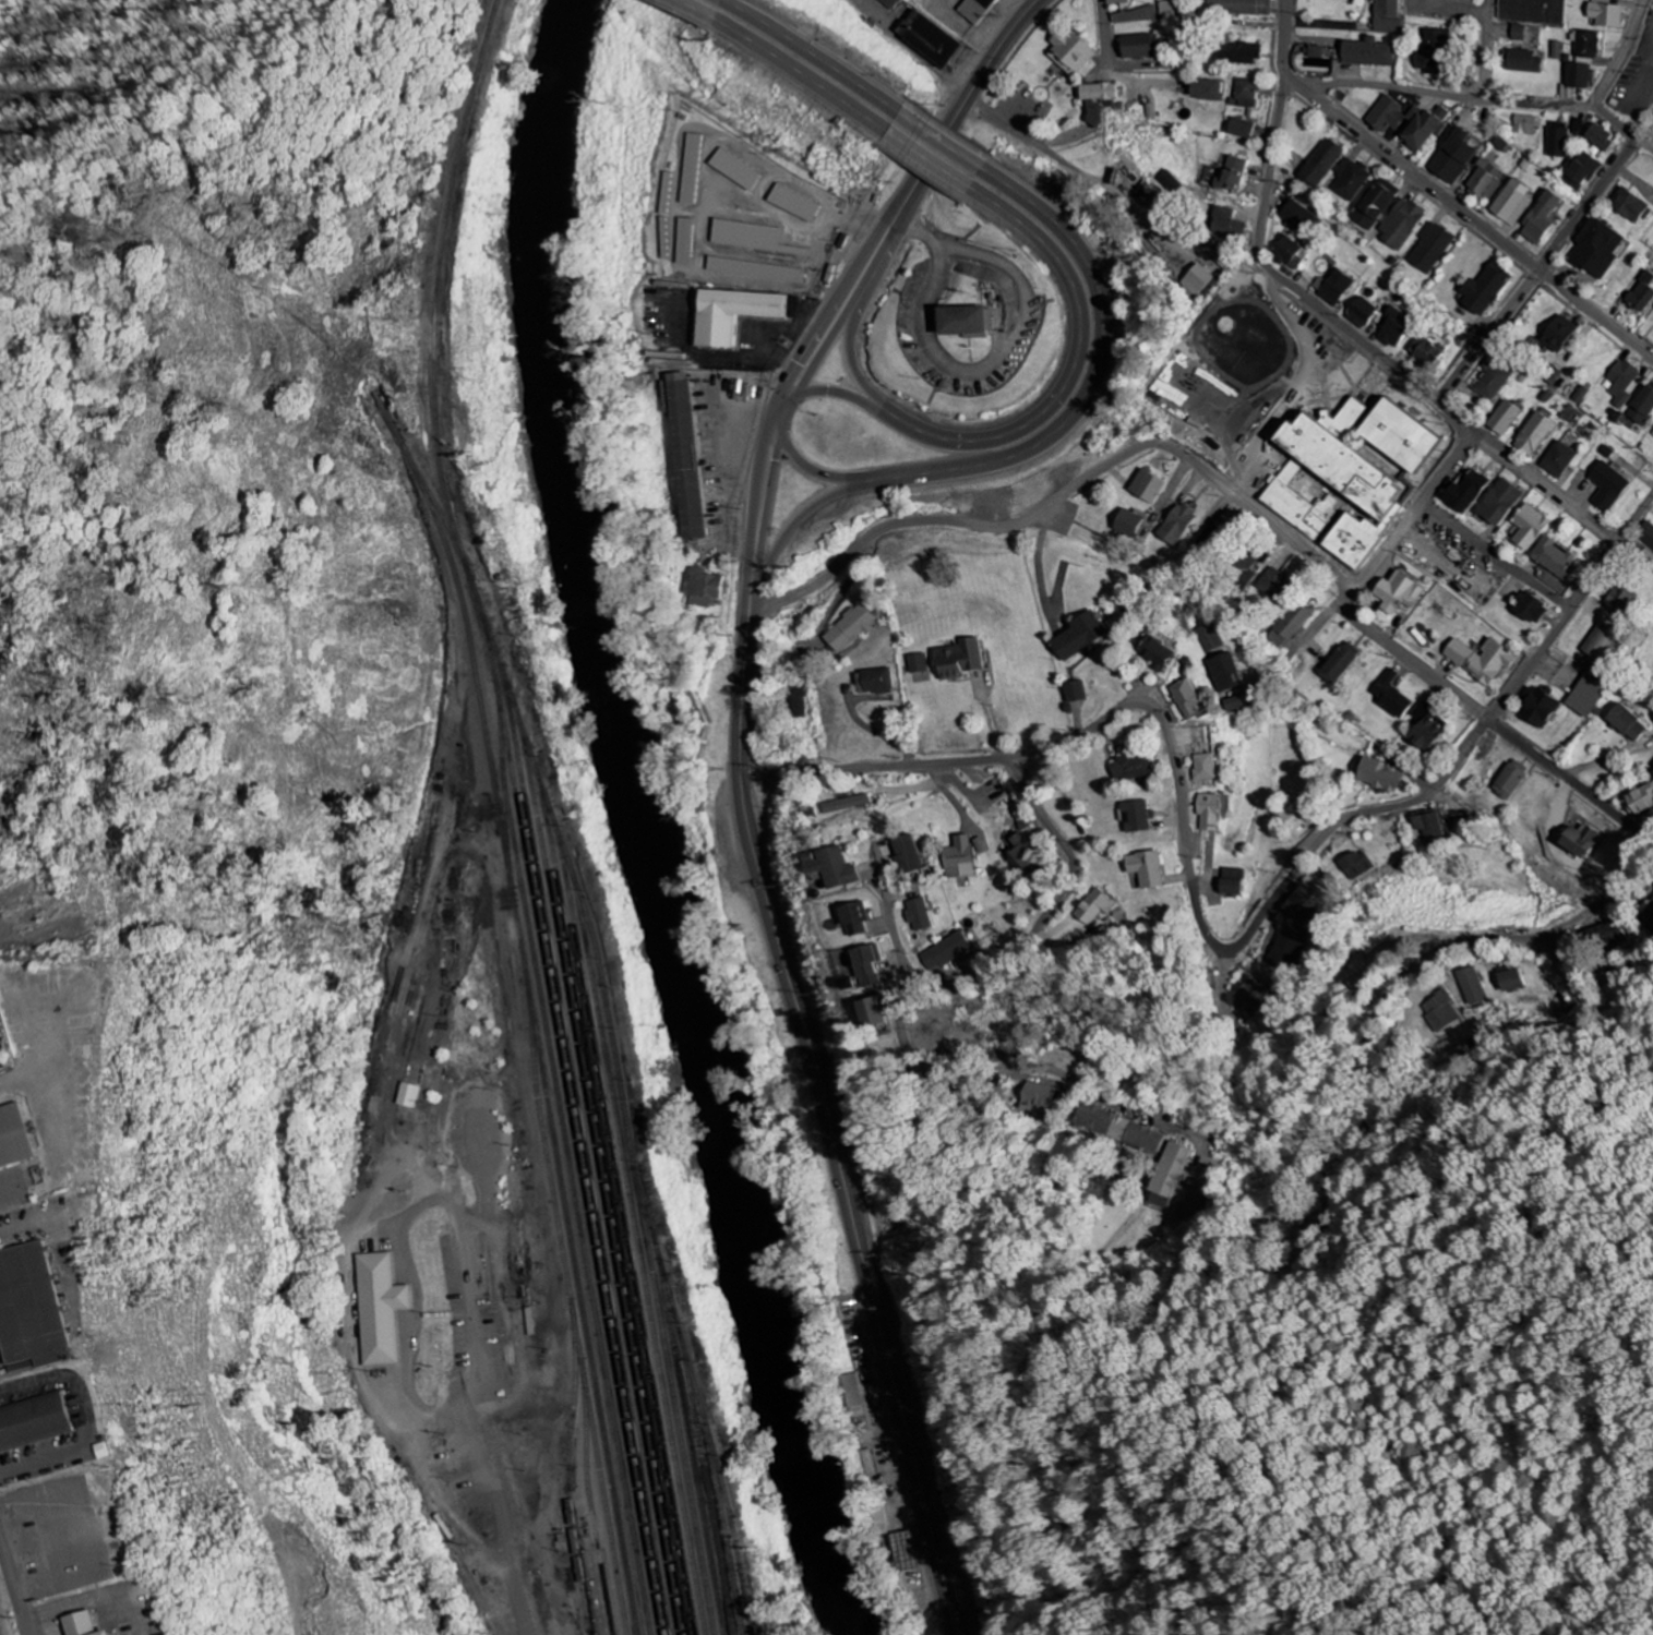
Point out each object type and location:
building: (1115, 1)
building: (889, 3)
building: (1239, 7)
road: (702, 9)
building: (975, 9)
building: (1534, 10)
building: (1606, 13)
building: (1137, 15)
building: (1387, 16)
building: (1518, 33)
building: (927, 38)
building: (1586, 45)
building: (1137, 46)
building: (1557, 50)
road: (817, 51)
building: (1314, 51)
building: (1432, 51)
building: (1071, 52)
building: (1236, 52)
building: (1367, 52)
road: (1620, 55)
building: (1523, 61)
road: (1106, 70)
road: (805, 75)
building: (1576, 79)
road: (1315, 85)
building: (1205, 89)
building: (1098, 93)
building: (1244, 93)
road: (1458, 97)
building: (1386, 115)
building: (1526, 125)
road: (1622, 125)
building: (1423, 127)
building: (1241, 128)
building: (1600, 136)
road: (945, 140)
building: (1558, 140)
building: (1454, 156)
road: (933, 160)
building: (1321, 164)
building: (690, 169)
building: (734, 169)
building: (1582, 169)
building: (1232, 175)
building: (1351, 179)
building: (1487, 181)
road: (907, 196)
building: (1512, 202)
building: (793, 203)
building: (1374, 204)
building: (1628, 205)
building: (1298, 215)
road: (1471, 215)
building: (1541, 217)
building: (1401, 224)
building: (1226, 225)
building: (751, 237)
building: (684, 241)
road: (1261, 241)
building: (1596, 248)
building: (1430, 249)
building: (1289, 253)
road: (1538, 267)
building: (754, 269)
railway: (442, 280)
building: (1197, 280)
building: (1335, 287)
building: (1484, 288)
building: (1642, 293)
building: (1362, 312)
building: (731, 314)
building: (963, 320)
building: (1393, 327)
building: (1558, 334)
building: (1424, 351)
road: (849, 352)
road: (1068, 374)
building: (1553, 375)
building: (1493, 380)
building: (1620, 383)
road: (1094, 385)
road: (834, 392)
building: (1581, 395)
building: (1643, 406)
building: (1568, 413)
road: (1459, 414)
building: (1505, 419)
building: (1535, 434)
building: (684, 456)
building: (1559, 459)
road: (810, 471)
building: (1347, 473)
road: (765, 480)
road: (1549, 483)
building: (1607, 485)
building: (1147, 488)
building: (1466, 492)
road: (1064, 493)
building: (1499, 502)
road: (1415, 510)
road: (803, 516)
railway: (436, 519)
building: (1128, 522)
building: (1177, 525)
building: (1530, 527)
building: (1646, 534)
building: (1555, 558)
building: (1243, 568)
building: (703, 584)
building: (1273, 584)
building: (1397, 592)
building: (1529, 609)
building: (1290, 625)
building: (850, 629)
building: (1078, 637)
building: (1209, 638)
building: (1601, 642)
building: (1157, 654)
building: (957, 659)
building: (1481, 659)
building: (918, 663)
building: (1339, 663)
building: (1226, 673)
building: (1075, 692)
building: (1589, 693)
building: (1391, 695)
building: (1185, 698)
building: (798, 702)
building: (1233, 705)
building: (1537, 707)
road: (1489, 717)
building: (1626, 723)
building: (1426, 728)
building: (1205, 767)
building: (1130, 768)
building: (1378, 776)
building: (1510, 780)
railway: (492, 794)
building: (1640, 801)
building: (846, 804)
building: (1208, 813)
building: (1135, 817)
building: (1295, 818)
river: (642, 826)
building: (1429, 827)
building: (1578, 840)
building: (907, 854)
building: (961, 858)
building: (1025, 858)
building: (1357, 865)
building: (833, 867)
building: (1145, 869)
building: (1230, 882)
building: (1304, 904)
building: (1092, 909)
building: (919, 915)
building: (1651, 915)
building: (854, 918)
road: (895, 927)
building: (1609, 935)
road: (1208, 936)
building: (1286, 943)
building: (944, 952)
building: (866, 965)
building: (1361, 972)
building: (1509, 981)
building: (1472, 986)
building: (1250, 996)
building: (1440, 1012)
building: (870, 1013)
road: (905, 1042)
building: (407, 1096)
building: (1042, 1098)
railway: (553, 1099)
road: (823, 1101)
railway: (620, 1107)
building: (1122, 1130)
building: (14, 1134)
building: (1166, 1176)
road: (1266, 1216)
building: (32, 1305)
railway: (568, 1308)
building: (379, 1310)
building: (858, 1404)
building: (38, 1423)
railway: (568, 1472)
road: (502, 1499)
building: (878, 1522)
building: (903, 1552)
road: (11, 1594)
building: (88, 1625)
building: (127, 1634)

